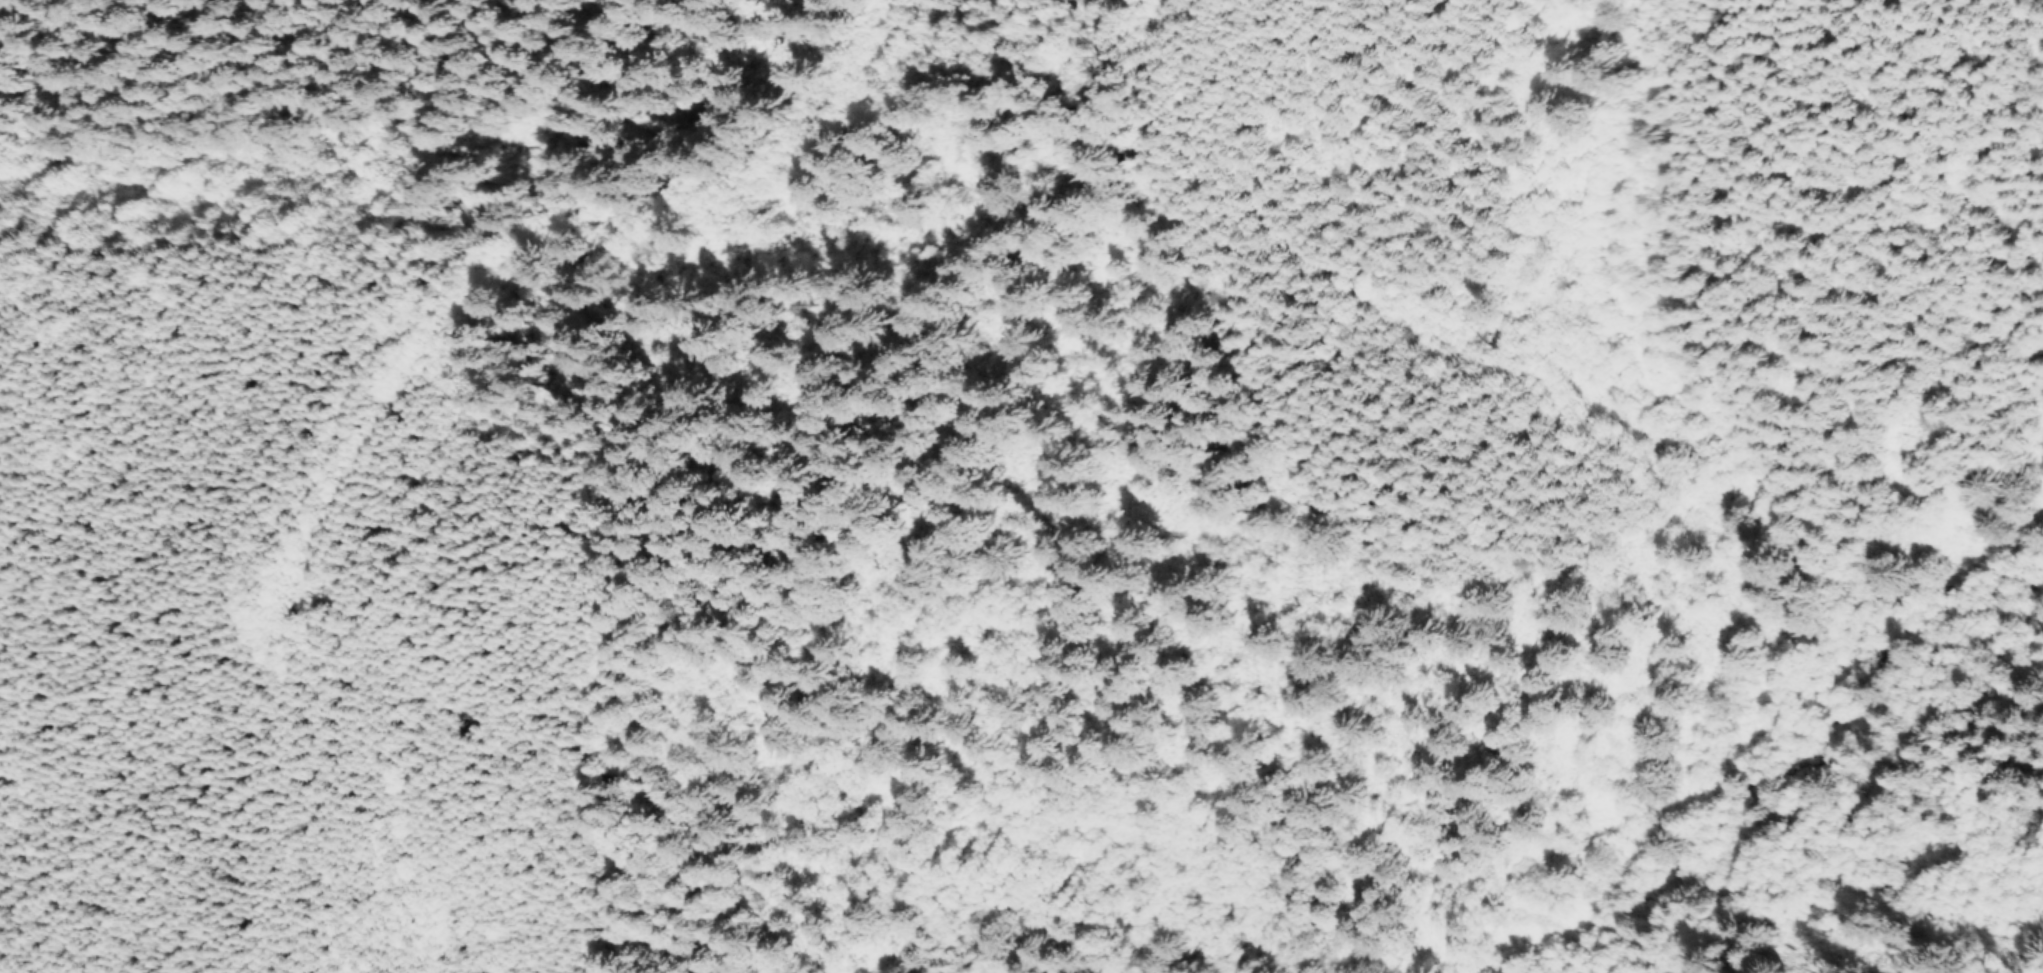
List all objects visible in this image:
road: (508, 277)

